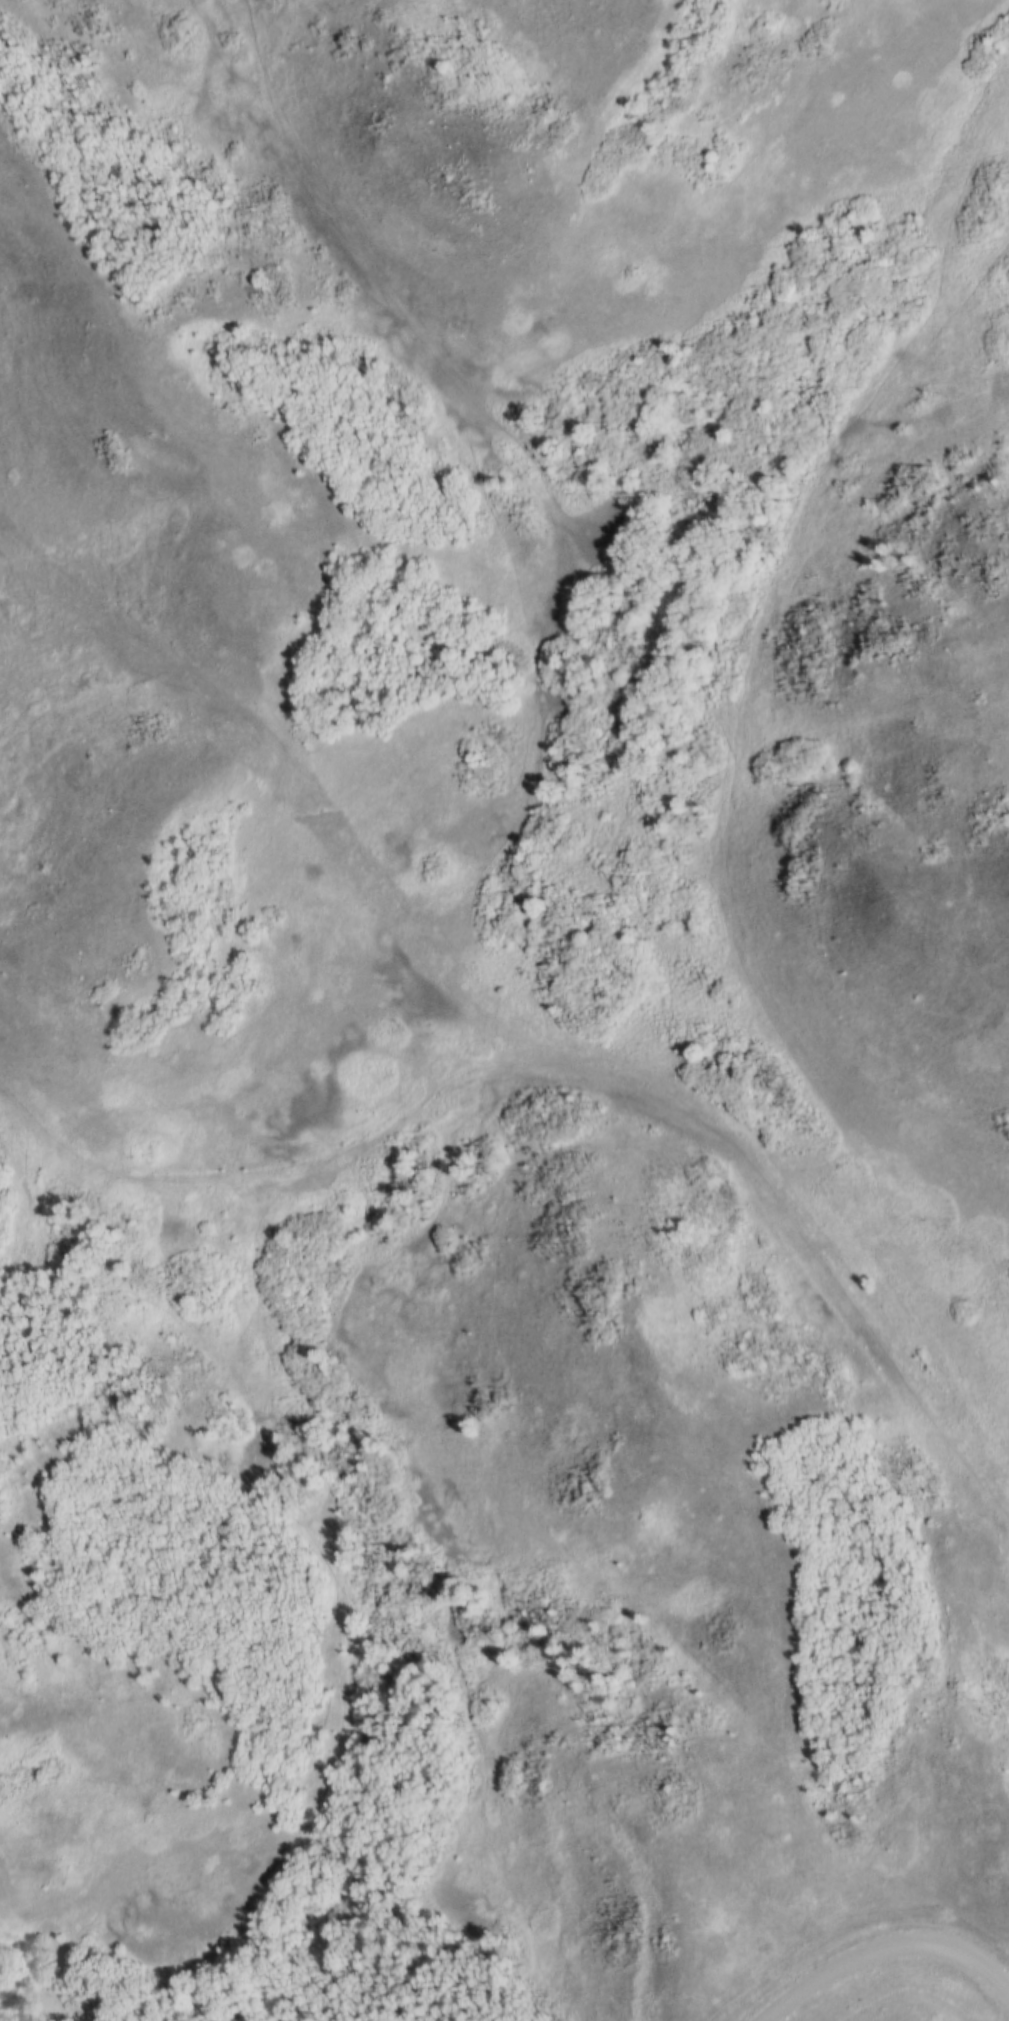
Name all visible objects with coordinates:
road: (882, 1937)

